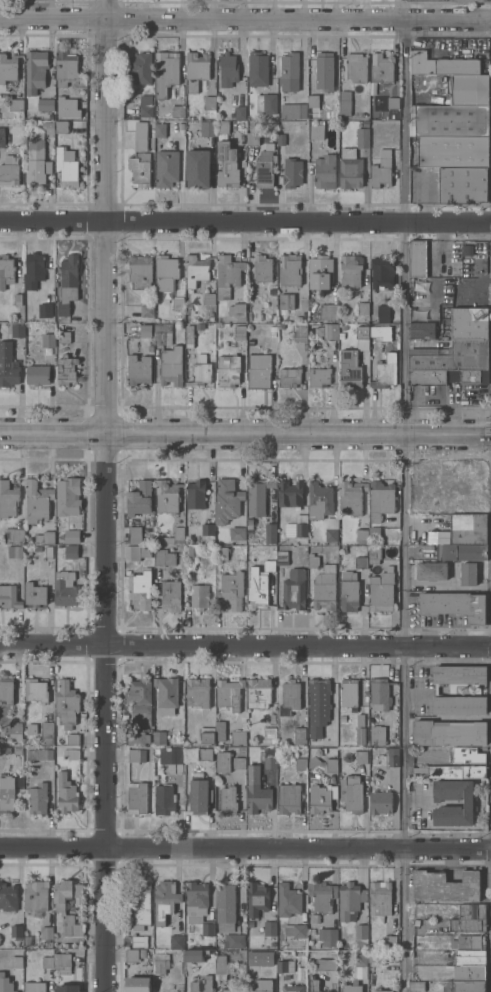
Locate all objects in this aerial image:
building: (470, 0)
road: (245, 21)
building: (441, 64)
building: (8, 67)
building: (356, 67)
building: (381, 67)
building: (65, 68)
building: (139, 68)
building: (227, 69)
building: (257, 69)
building: (196, 70)
building: (35, 71)
building: (166, 71)
building: (289, 71)
building: (324, 71)
building: (469, 89)
building: (313, 101)
building: (392, 102)
building: (209, 103)
building: (266, 103)
building: (344, 103)
building: (16, 104)
building: (45, 104)
building: (70, 104)
building: (145, 106)
building: (178, 111)
building: (299, 111)
road: (405, 111)
building: (239, 112)
building: (449, 120)
building: (151, 121)
building: (222, 126)
building: (48, 127)
building: (61, 127)
building: (206, 128)
building: (160, 129)
building: (316, 130)
building: (140, 135)
building: (363, 135)
building: (2, 137)
building: (252, 139)
building: (281, 139)
building: (452, 151)
building: (37, 159)
building: (227, 164)
building: (264, 166)
building: (166, 167)
building: (66, 168)
building: (197, 168)
building: (140, 169)
building: (9, 170)
building: (381, 170)
building: (325, 171)
building: (292, 172)
building: (350, 172)
building: (463, 184)
road: (245, 223)
building: (465, 249)
building: (416, 258)
building: (34, 263)
building: (262, 268)
building: (290, 269)
building: (196, 270)
building: (6, 271)
building: (140, 271)
building: (349, 271)
building: (382, 272)
building: (319, 274)
building: (227, 275)
building: (167, 278)
building: (68, 283)
building: (49, 286)
building: (208, 298)
building: (17, 299)
building: (286, 301)
building: (362, 308)
building: (146, 311)
building: (237, 311)
building: (328, 311)
building: (382, 313)
building: (371, 314)
building: (256, 315)
building: (298, 319)
building: (469, 323)
building: (199, 326)
building: (17, 330)
building: (145, 330)
building: (375, 330)
building: (421, 330)
building: (300, 331)
building: (331, 331)
building: (239, 332)
building: (362, 332)
building: (163, 334)
building: (63, 335)
building: (341, 335)
building: (188, 336)
building: (48, 340)
building: (451, 356)
building: (7, 366)
building: (171, 366)
building: (138, 369)
building: (349, 369)
building: (66, 370)
building: (227, 370)
building: (259, 371)
building: (200, 373)
building: (37, 375)
building: (382, 375)
building: (441, 376)
building: (289, 377)
building: (318, 377)
road: (245, 434)
building: (421, 471)
building: (466, 480)
building: (289, 494)
building: (195, 495)
building: (257, 495)
building: (67, 496)
road: (103, 496)
building: (166, 496)
building: (351, 496)
building: (8, 498)
building: (139, 498)
building: (381, 499)
building: (36, 500)
building: (227, 500)
building: (319, 500)
building: (456, 505)
building: (192, 517)
building: (249, 521)
building: (296, 527)
building: (468, 528)
building: (207, 529)
building: (361, 529)
building: (331, 530)
building: (178, 532)
building: (237, 533)
building: (269, 533)
building: (134, 534)
building: (13, 535)
building: (375, 535)
building: (71, 536)
building: (44, 537)
building: (194, 537)
building: (255, 540)
building: (36, 548)
building: (14, 551)
building: (48, 551)
building: (70, 551)
building: (461, 551)
building: (136, 552)
building: (188, 552)
building: (221, 553)
building: (374, 555)
building: (281, 556)
building: (163, 557)
building: (313, 560)
building: (360, 562)
building: (431, 570)
building: (467, 573)
building: (258, 585)
building: (65, 588)
building: (140, 588)
building: (294, 589)
building: (324, 589)
building: (231, 590)
building: (348, 591)
building: (381, 591)
building: (34, 594)
building: (170, 595)
building: (199, 596)
building: (9, 597)
building: (410, 598)
building: (456, 605)
road: (404, 607)
road: (245, 648)
building: (6, 690)
building: (35, 690)
building: (435, 690)
building: (197, 692)
building: (258, 692)
building: (349, 692)
building: (229, 693)
building: (166, 694)
building: (379, 694)
building: (289, 697)
building: (139, 700)
building: (65, 704)
building: (318, 705)
building: (361, 720)
building: (15, 727)
building: (220, 730)
building: (269, 732)
building: (46, 733)
building: (448, 733)
building: (207, 734)
building: (360, 734)
building: (377, 735)
building: (158, 737)
building: (238, 737)
building: (299, 737)
building: (137, 738)
building: (72, 739)
building: (17, 750)
building: (71, 753)
building: (39, 754)
building: (204, 754)
building: (466, 754)
building: (136, 756)
building: (360, 757)
building: (392, 757)
building: (270, 758)
building: (171, 759)
building: (312, 761)
building: (222, 762)
building: (238, 763)
building: (300, 763)
building: (330, 765)
building: (456, 772)
building: (256, 791)
building: (6, 793)
building: (66, 793)
building: (199, 794)
building: (353, 794)
building: (37, 798)
building: (136, 798)
building: (164, 799)
building: (288, 799)
building: (319, 799)
building: (228, 800)
building: (380, 802)
building: (468, 804)
road: (245, 846)
building: (444, 886)
building: (35, 895)
building: (321, 895)
building: (8, 897)
building: (379, 898)
building: (256, 899)
building: (164, 900)
building: (288, 900)
building: (349, 901)
building: (197, 905)
building: (225, 906)
building: (59, 908)
building: (471, 911)
building: (139, 912)
building: (313, 918)
building: (466, 925)
building: (269, 928)
building: (294, 930)
building: (16, 931)
building: (46, 932)
building: (360, 935)
building: (326, 936)
building: (176, 941)
building: (233, 941)
building: (389, 941)
building: (468, 942)
building: (142, 953)
building: (195, 954)
building: (130, 955)
building: (382, 955)
building: (260, 957)
building: (469, 957)
building: (360, 960)
building: (16, 961)
building: (47, 961)
building: (62, 963)
building: (160, 963)
building: (325, 965)
building: (284, 966)
building: (220, 967)
building: (469, 972)
building: (420, 977)
building: (137, 984)
building: (201, 984)
building: (314, 984)
building: (420, 986)
building: (465, 986)
building: (34, 987)
building: (351, 987)
building: (67, 988)
building: (257, 988)
building: (291, 988)
building: (231, 990)
building: (381, 990)
building: (12, 991)

